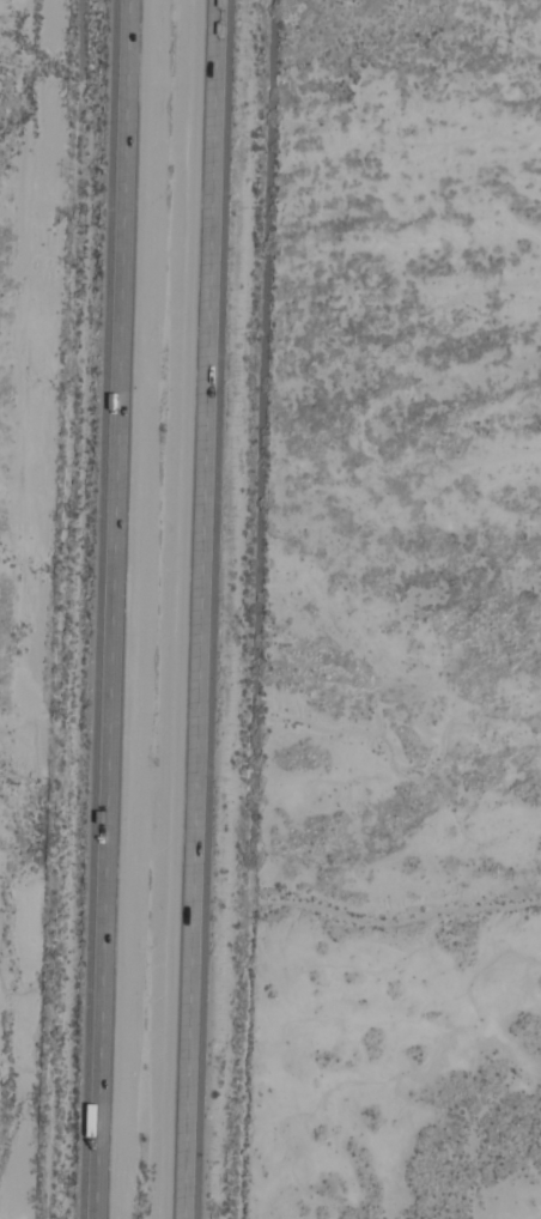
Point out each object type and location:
road: (108, 608)
road: (199, 609)

